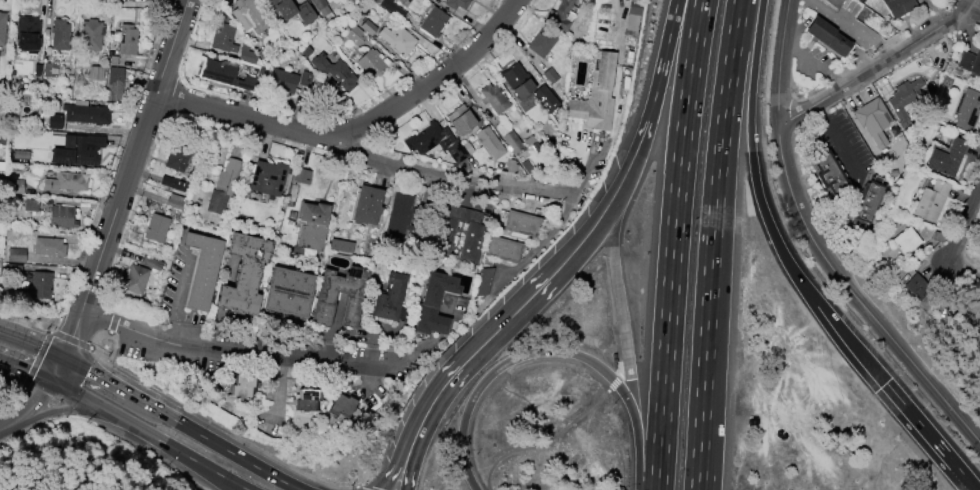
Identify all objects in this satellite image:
building: (833, 3)
building: (456, 4)
building: (898, 7)
road: (974, 7)
building: (393, 9)
building: (291, 10)
building: (560, 15)
building: (248, 16)
building: (432, 22)
building: (27, 27)
building: (367, 27)
building: (2, 28)
road: (669, 33)
building: (60, 35)
building: (91, 35)
building: (352, 36)
building: (826, 36)
building: (222, 37)
building: (126, 39)
building: (397, 39)
building: (541, 42)
building: (247, 55)
building: (970, 62)
building: (370, 63)
road: (875, 67)
building: (54, 71)
building: (334, 72)
building: (96, 73)
building: (228, 74)
building: (549, 75)
building: (288, 80)
building: (516, 81)
building: (115, 84)
building: (595, 94)
building: (493, 98)
building: (545, 98)
building: (904, 100)
building: (968, 111)
building: (86, 114)
building: (460, 120)
building: (873, 120)
building: (54, 121)
road: (644, 132)
road: (355, 134)
building: (509, 137)
building: (435, 142)
building: (489, 142)
road: (839, 144)
building: (78, 151)
road: (133, 154)
building: (177, 156)
building: (947, 158)
building: (829, 175)
building: (301, 176)
road: (717, 176)
building: (267, 178)
road: (452, 180)
building: (65, 181)
building: (172, 184)
building: (16, 187)
building: (222, 187)
building: (867, 200)
building: (174, 201)
building: (931, 201)
building: (31, 205)
building: (366, 205)
road: (974, 206)
building: (62, 217)
building: (399, 217)
building: (522, 223)
building: (311, 225)
building: (156, 228)
building: (473, 239)
building: (907, 240)
road: (672, 244)
building: (341, 245)
road: (580, 245)
building: (49, 247)
road: (816, 248)
building: (503, 249)
building: (16, 254)
building: (153, 264)
building: (202, 269)
building: (14, 272)
road: (796, 272)
building: (242, 275)
building: (135, 279)
building: (483, 281)
building: (40, 284)
building: (916, 287)
building: (288, 292)
road: (179, 297)
building: (324, 298)
building: (391, 300)
building: (434, 303)
road: (619, 307)
building: (972, 314)
road: (0, 332)
road: (105, 332)
road: (72, 334)
road: (21, 340)
road: (72, 340)
road: (51, 352)
road: (224, 354)
traffic signals: (61, 357)
road: (514, 358)
road: (35, 363)
road: (13, 366)
road: (54, 368)
road: (37, 375)
road: (449, 379)
traffic signals: (48, 380)
building: (242, 385)
road: (118, 388)
road: (72, 391)
building: (306, 400)
road: (32, 404)
building: (342, 405)
road: (52, 409)
road: (700, 422)
road: (705, 422)
road: (6, 427)
road: (222, 427)
road: (140, 429)
road: (550, 437)
road: (638, 455)
road: (234, 456)
road: (206, 472)
road: (214, 473)
road: (361, 489)

